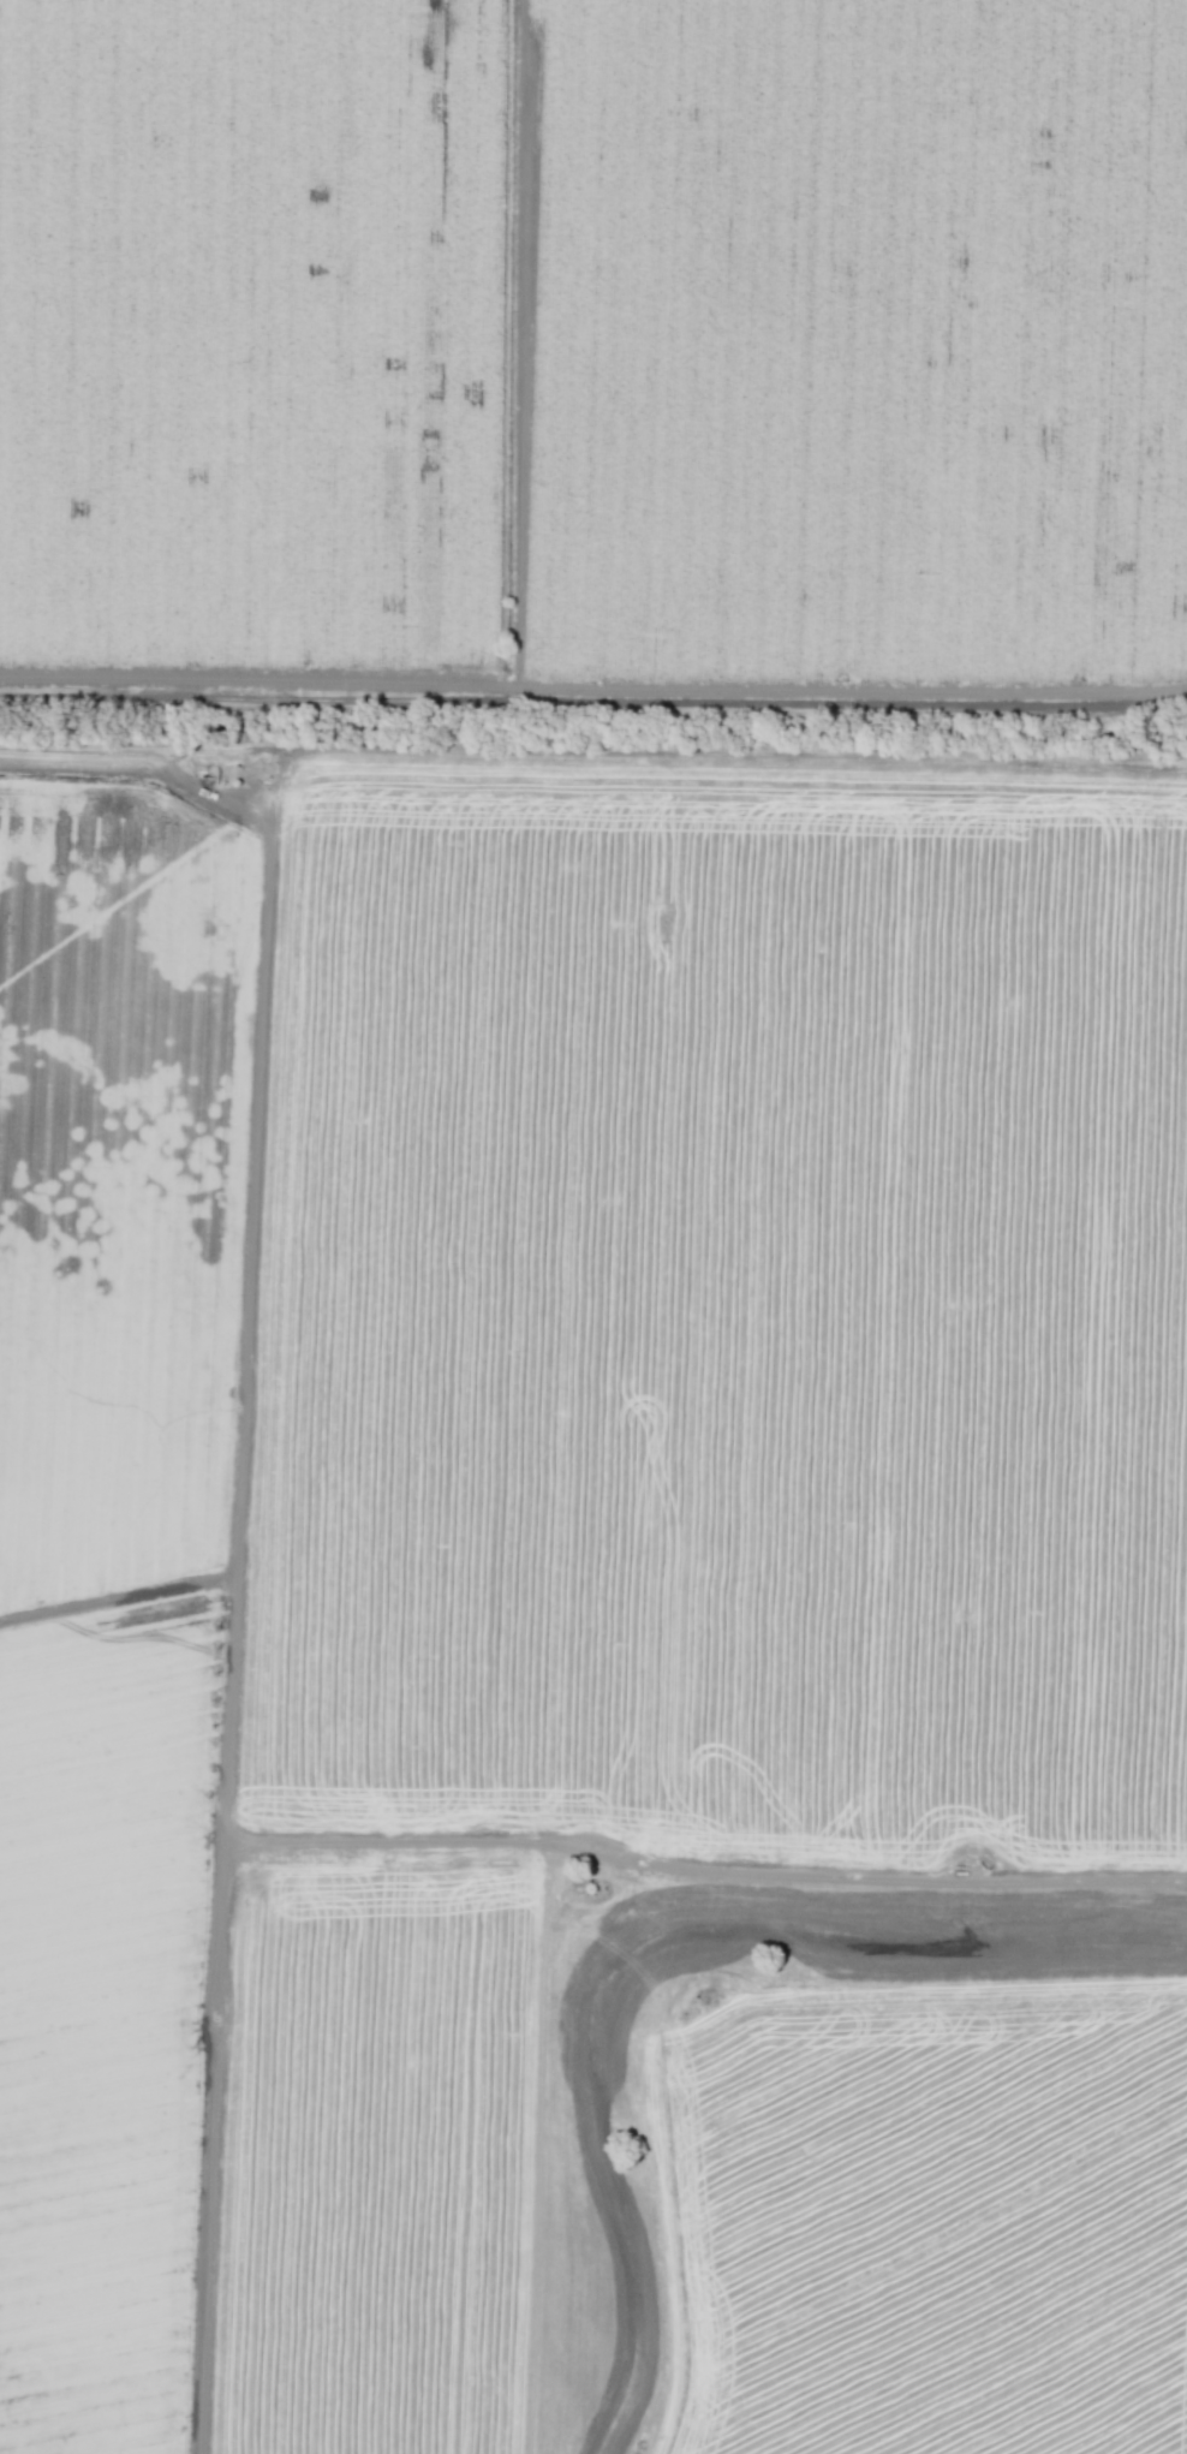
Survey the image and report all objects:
road: (700, 757)
crop: (120, 1198)
crop: (724, 1312)
road: (119, 1602)
road: (234, 1679)
road: (712, 2015)
crop: (102, 2020)
road: (211, 2150)
crop: (370, 2156)
crop: (935, 2224)

